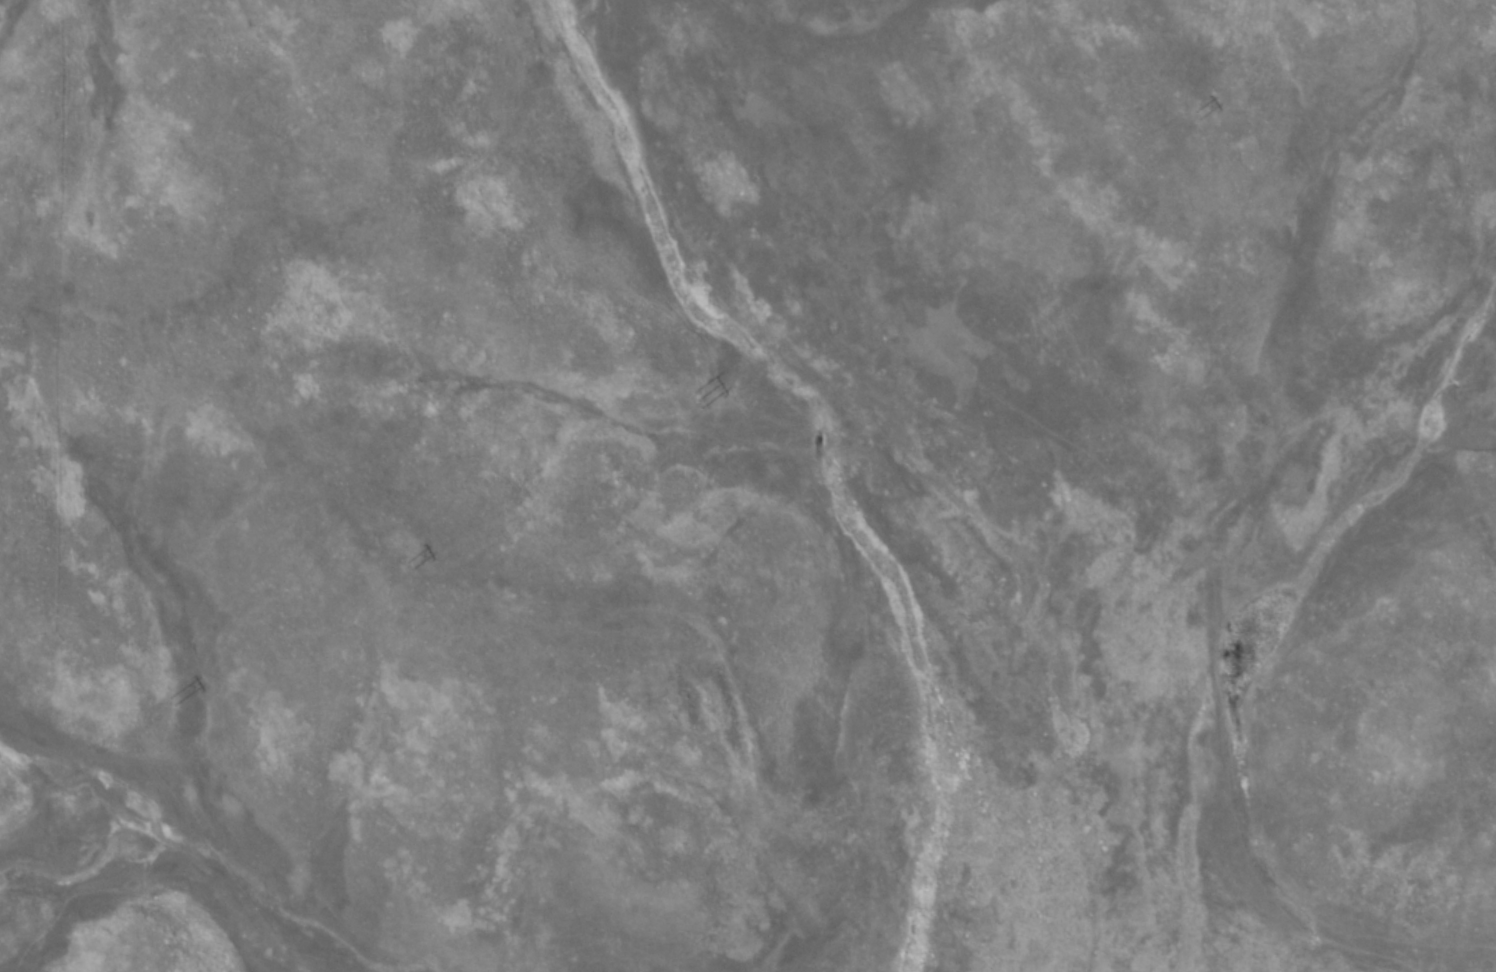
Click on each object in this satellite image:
power tower: (1197, 117)
power tower: (699, 402)
power tower: (410, 567)
power tower: (174, 703)

